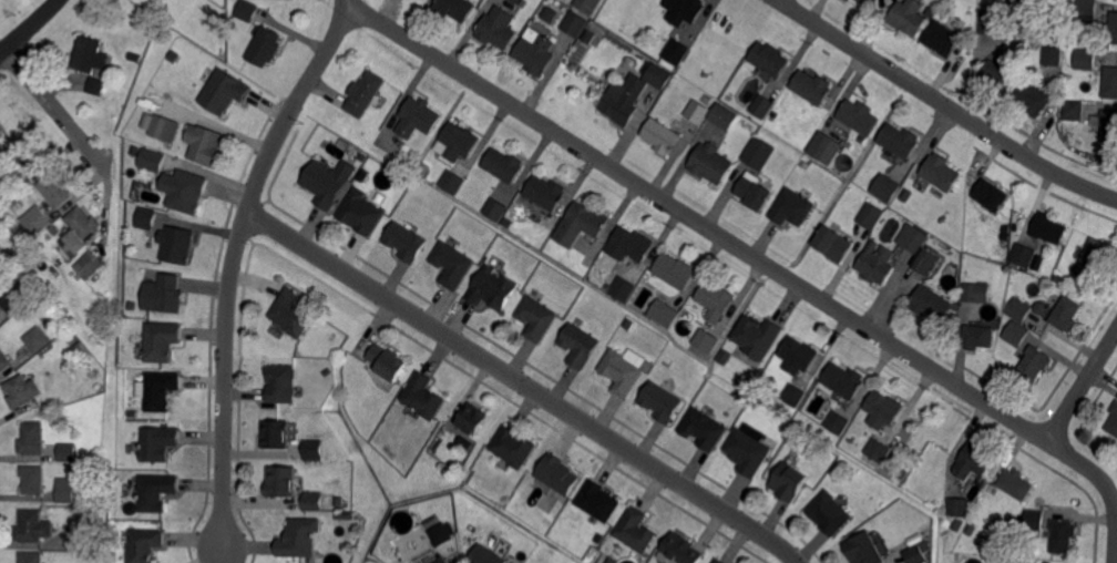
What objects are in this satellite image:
building: (516, 1)
building: (867, 2)
building: (1027, 2)
building: (590, 4)
building: (457, 8)
building: (248, 10)
building: (685, 10)
building: (1088, 10)
building: (929, 12)
building: (943, 12)
building: (549, 13)
building: (908, 17)
building: (575, 23)
building: (995, 23)
building: (1114, 27)
road: (29, 28)
building: (498, 29)
building: (1021, 31)
building: (940, 38)
building: (266, 47)
building: (677, 51)
building: (537, 53)
building: (91, 54)
building: (1053, 55)
building: (771, 59)
building: (1086, 59)
building: (998, 73)
building: (658, 78)
building: (1110, 81)
building: (94, 84)
building: (813, 86)
building: (224, 92)
building: (366, 93)
building: (1035, 99)
building: (625, 102)
road: (946, 103)
building: (764, 105)
road: (57, 109)
building: (1075, 110)
building: (698, 111)
building: (860, 116)
building: (723, 117)
building: (418, 119)
building: (1109, 126)
building: (1, 129)
building: (165, 129)
building: (663, 135)
building: (460, 142)
building: (800, 142)
building: (899, 142)
building: (1, 145)
building: (204, 145)
building: (826, 147)
building: (760, 153)
building: (360, 155)
building: (28, 157)
building: (154, 161)
building: (710, 164)
building: (805, 165)
building: (503, 166)
building: (941, 173)
building: (361, 174)
building: (453, 181)
building: (328, 182)
building: (885, 188)
building: (57, 190)
building: (192, 192)
building: (147, 193)
building: (756, 193)
building: (545, 194)
building: (908, 195)
building: (993, 195)
building: (789, 207)
building: (492, 209)
building: (358, 213)
building: (872, 215)
building: (38, 218)
building: (146, 219)
road: (698, 222)
building: (508, 224)
building: (581, 225)
building: (1049, 227)
building: (53, 231)
building: (81, 231)
building: (914, 237)
building: (406, 243)
building: (834, 243)
building: (176, 245)
building: (629, 246)
building: (1024, 255)
building: (22, 258)
building: (1094, 258)
road: (230, 262)
building: (925, 263)
building: (450, 264)
building: (878, 265)
building: (86, 267)
building: (676, 270)
building: (489, 288)
building: (624, 288)
building: (973, 291)
building: (165, 295)
building: (17, 298)
building: (717, 300)
building: (932, 305)
building: (134, 306)
building: (1021, 309)
building: (665, 313)
building: (293, 314)
building: (1067, 314)
building: (535, 319)
building: (629, 324)
building: (1017, 332)
building: (980, 336)
building: (754, 337)
building: (38, 339)
building: (706, 339)
building: (163, 340)
building: (578, 346)
building: (79, 350)
building: (799, 355)
building: (723, 357)
building: (4, 360)
building: (387, 362)
building: (1035, 362)
building: (619, 372)
building: (326, 373)
building: (844, 379)
building: (281, 385)
road: (524, 386)
road: (1083, 386)
building: (21, 390)
building: (160, 391)
building: (793, 396)
building: (422, 397)
building: (662, 403)
building: (884, 411)
building: (473, 419)
building: (1114, 421)
building: (837, 423)
building: (704, 429)
building: (275, 436)
building: (32, 438)
building: (157, 444)
building: (512, 447)
building: (312, 450)
building: (64, 451)
building: (878, 451)
building: (747, 452)
building: (975, 460)
road: (1088, 468)
building: (556, 474)
building: (33, 479)
building: (280, 483)
building: (789, 483)
building: (1016, 483)
building: (65, 490)
building: (155, 492)
building: (336, 501)
building: (597, 501)
building: (312, 503)
building: (955, 505)
building: (830, 514)
building: (342, 515)
building: (400, 520)
building: (956, 523)
building: (1035, 523)
building: (31, 529)
building: (469, 529)
building: (971, 530)
building: (636, 531)
building: (441, 533)
building: (1064, 535)
building: (85, 539)
building: (299, 539)
building: (146, 545)
building: (925, 546)
building: (682, 550)
building: (863, 550)
road: (1116, 550)
building: (915, 555)
building: (31, 556)
building: (486, 556)
building: (438, 560)
building: (609, 560)
building: (719, 561)
building: (1046, 562)

